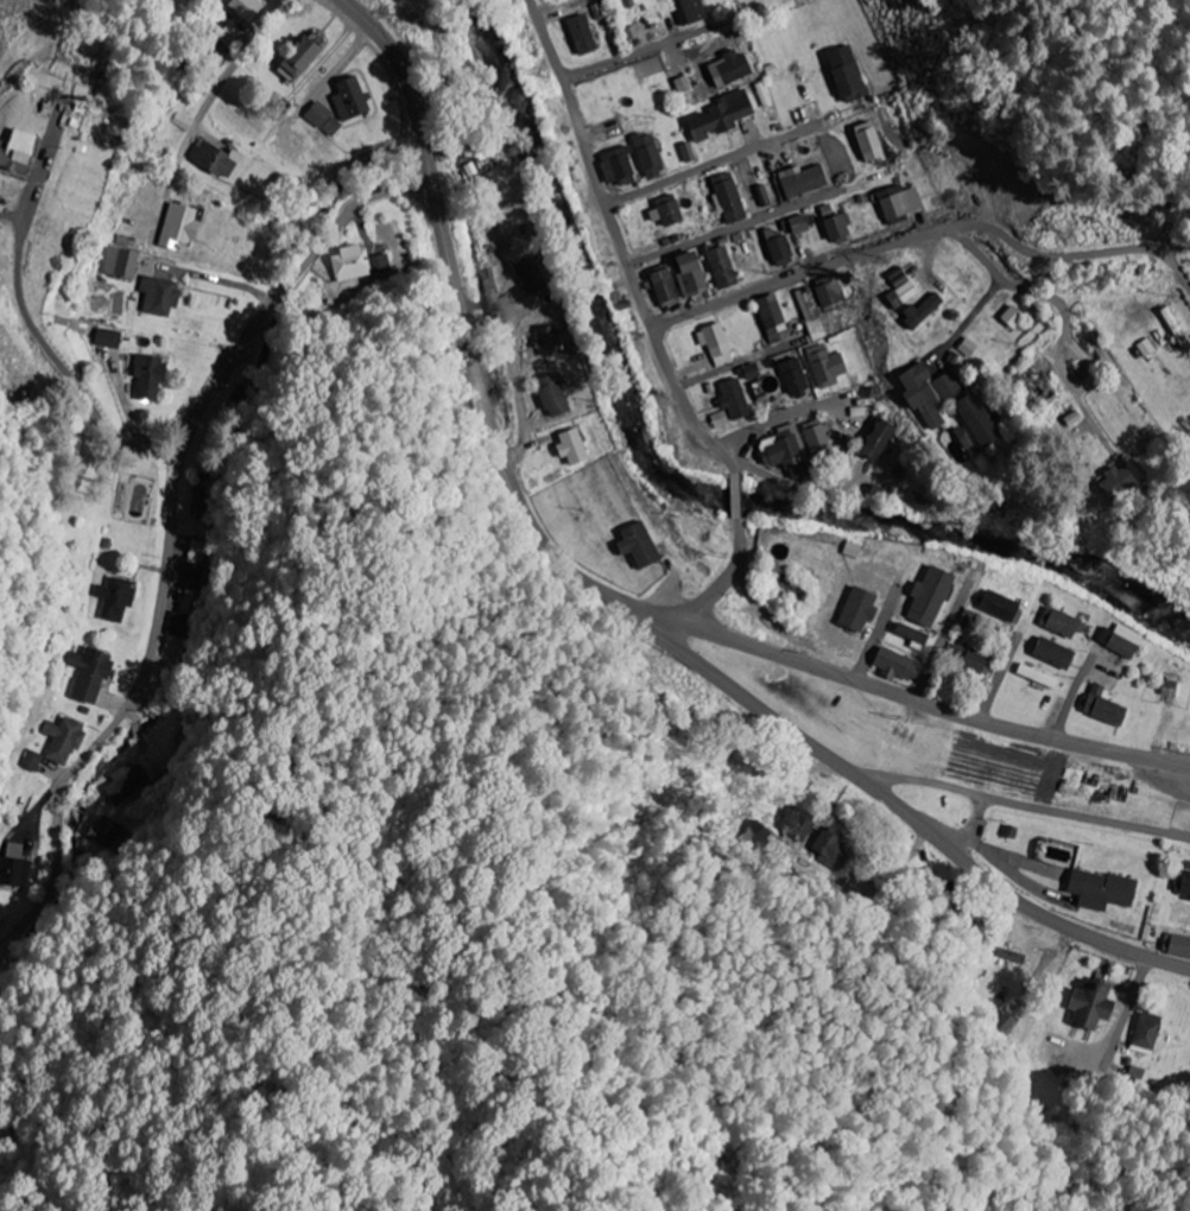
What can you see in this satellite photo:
building: (242, 7)
building: (688, 12)
building: (628, 32)
building: (577, 34)
building: (309, 40)
road: (641, 52)
building: (291, 58)
road: (236, 62)
building: (726, 69)
building: (844, 74)
building: (762, 94)
building: (344, 97)
building: (314, 114)
building: (717, 115)
road: (607, 138)
building: (866, 141)
building: (11, 150)
building: (685, 152)
road: (745, 152)
building: (645, 154)
building: (211, 159)
building: (613, 166)
building: (797, 180)
building: (760, 195)
building: (726, 197)
building: (895, 203)
building: (662, 210)
road: (748, 224)
building: (795, 224)
building: (173, 226)
building: (833, 227)
road: (918, 236)
building: (777, 251)
building: (120, 262)
building: (349, 264)
building: (380, 264)
road: (1176, 265)
building: (719, 267)
building: (685, 274)
building: (659, 286)
road: (1024, 290)
building: (827, 293)
building: (156, 294)
building: (898, 296)
building: (917, 311)
building: (809, 313)
building: (1011, 316)
building: (767, 318)
building: (1175, 328)
building: (112, 337)
building: (542, 341)
building: (713, 343)
building: (967, 347)
building: (1145, 347)
building: (1100, 353)
building: (823, 366)
road: (727, 368)
building: (746, 372)
building: (152, 374)
building: (790, 375)
building: (926, 393)
building: (549, 395)
building: (730, 399)
road: (777, 417)
building: (974, 420)
building: (956, 437)
building: (874, 440)
building: (815, 444)
building: (569, 448)
road: (722, 449)
building: (777, 449)
road: (735, 475)
building: (1113, 482)
road: (786, 483)
road: (169, 538)
building: (634, 545)
building: (849, 550)
building: (195, 572)
building: (781, 588)
building: (115, 597)
building: (926, 597)
road: (621, 603)
building: (994, 605)
building: (854, 610)
road: (671, 616)
building: (1058, 622)
building: (177, 630)
building: (907, 634)
road: (876, 639)
building: (1121, 640)
road: (937, 651)
building: (1050, 653)
building: (967, 659)
building: (893, 665)
building: (93, 672)
building: (1036, 677)
road: (1000, 681)
road: (1070, 702)
building: (1099, 708)
building: (64, 738)
road: (1122, 754)
building: (33, 762)
building: (128, 782)
road: (1019, 804)
building: (795, 824)
building: (107, 831)
building: (754, 836)
building: (828, 848)
building: (15, 866)
building: (1182, 885)
building: (1097, 889)
building: (2, 914)
road: (939, 933)
building: (1175, 945)
building: (1084, 1004)
road: (1127, 1010)
building: (1000, 1023)
building: (1145, 1032)

